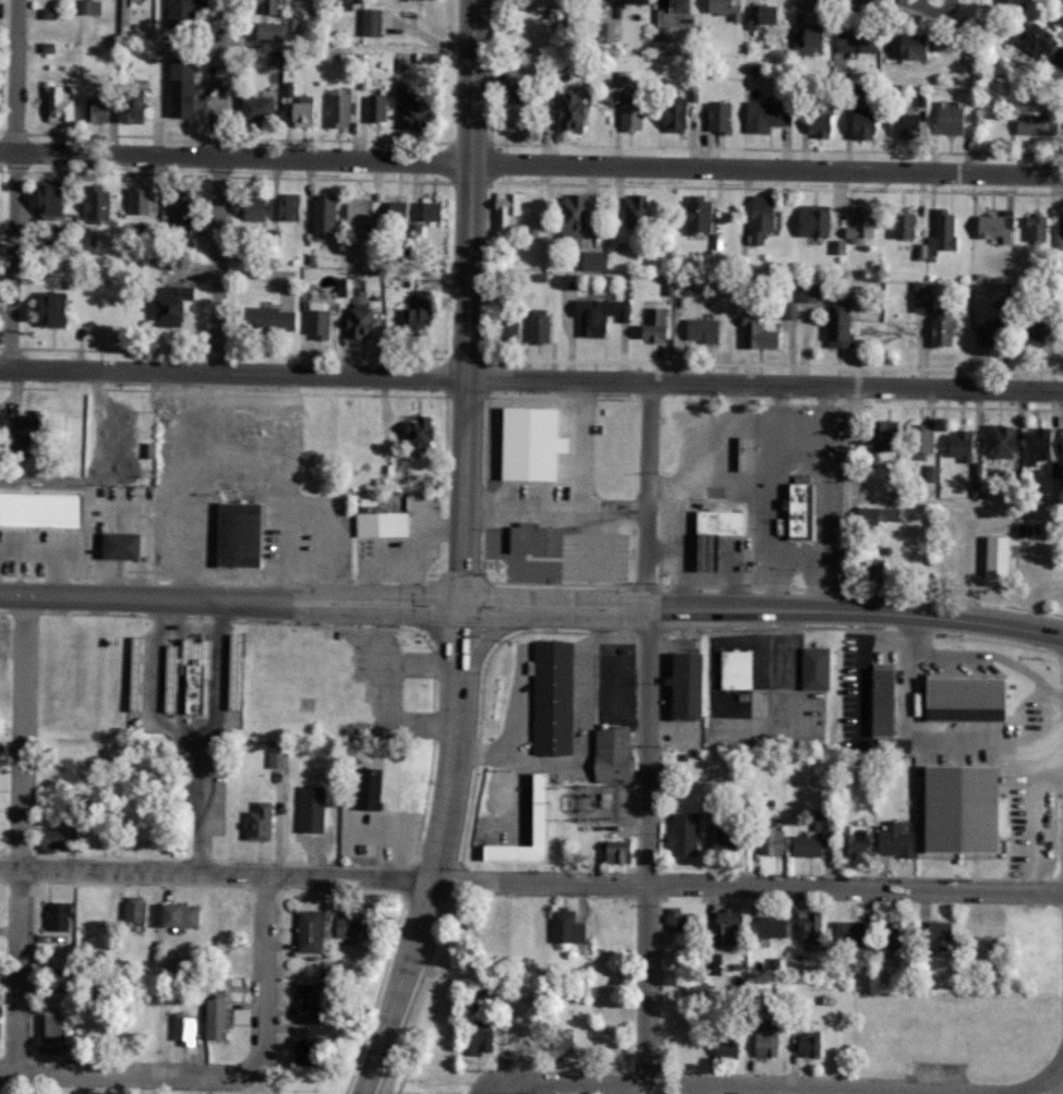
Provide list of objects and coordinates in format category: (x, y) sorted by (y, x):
building: (631, 1)
building: (1011, 2)
building: (343, 4)
building: (536, 4)
building: (264, 5)
building: (88, 7)
building: (179, 9)
building: (724, 9)
building: (46, 13)
building: (763, 15)
building: (674, 21)
building: (370, 22)
building: (276, 29)
building: (605, 31)
building: (804, 40)
building: (855, 40)
building: (1041, 45)
building: (907, 47)
road: (15, 74)
building: (514, 76)
building: (178, 87)
building: (58, 104)
building: (128, 107)
building: (255, 108)
building: (375, 108)
building: (410, 108)
building: (338, 109)
building: (93, 110)
building: (300, 111)
building: (569, 111)
building: (673, 114)
building: (764, 114)
building: (509, 117)
building: (630, 117)
building: (717, 117)
building: (950, 118)
building: (859, 125)
building: (905, 125)
building: (1030, 125)
road: (531, 162)
road: (217, 186)
building: (44, 198)
building: (137, 200)
building: (95, 203)
building: (287, 207)
building: (249, 209)
building: (505, 209)
building: (396, 210)
building: (357, 211)
building: (430, 211)
building: (635, 211)
building: (322, 212)
building: (696, 214)
building: (569, 216)
building: (179, 217)
building: (758, 218)
building: (811, 220)
building: (902, 223)
building: (859, 224)
building: (993, 226)
building: (1036, 228)
building: (1060, 236)
building: (83, 244)
building: (838, 246)
road: (12, 258)
building: (623, 259)
building: (591, 260)
building: (807, 292)
building: (921, 296)
road: (466, 302)
building: (169, 304)
building: (49, 309)
building: (790, 311)
building: (596, 314)
building: (413, 317)
building: (266, 319)
building: (315, 319)
building: (836, 325)
building: (535, 326)
building: (652, 326)
building: (506, 328)
building: (940, 328)
building: (699, 330)
building: (757, 333)
building: (1030, 333)
building: (987, 336)
road: (531, 379)
building: (415, 434)
building: (882, 434)
building: (919, 439)
building: (998, 440)
building: (527, 442)
building: (959, 445)
building: (1037, 446)
building: (1062, 449)
building: (931, 473)
road: (853, 498)
road: (958, 500)
building: (40, 508)
building: (796, 509)
building: (873, 516)
building: (715, 523)
building: (376, 524)
building: (234, 534)
building: (524, 537)
building: (116, 548)
parking lot: (590, 552)
building: (701, 552)
building: (996, 557)
building: (872, 569)
road: (229, 604)
road: (762, 609)
building: (812, 668)
building: (735, 669)
building: (681, 685)
building: (192, 688)
building: (959, 695)
building: (548, 697)
building: (169, 698)
building: (878, 700)
road: (645, 733)
road: (189, 740)
building: (606, 756)
building: (276, 758)
building: (366, 788)
road: (200, 806)
building: (535, 807)
building: (311, 809)
building: (958, 811)
building: (257, 822)
building: (821, 823)
road: (20, 834)
building: (681, 835)
building: (50, 838)
building: (721, 838)
building: (771, 840)
building: (853, 840)
building: (894, 840)
building: (804, 846)
building: (616, 851)
road: (438, 855)
road: (531, 883)
building: (132, 909)
building: (177, 914)
building: (56, 915)
building: (675, 919)
building: (807, 924)
building: (352, 925)
building: (565, 926)
building: (725, 926)
building: (770, 926)
building: (307, 931)
building: (850, 935)
building: (938, 936)
building: (887, 937)
building: (711, 963)
building: (305, 1000)
building: (214, 1011)
building: (186, 1031)
building: (48, 1034)
building: (479, 1036)
building: (764, 1040)
building: (561, 1042)
building: (807, 1043)
building: (304, 1045)
building: (723, 1046)
road: (264, 1047)
road: (53, 1071)
road: (1047, 1075)
road: (710, 1087)
road: (642, 1090)
road: (1020, 1092)

